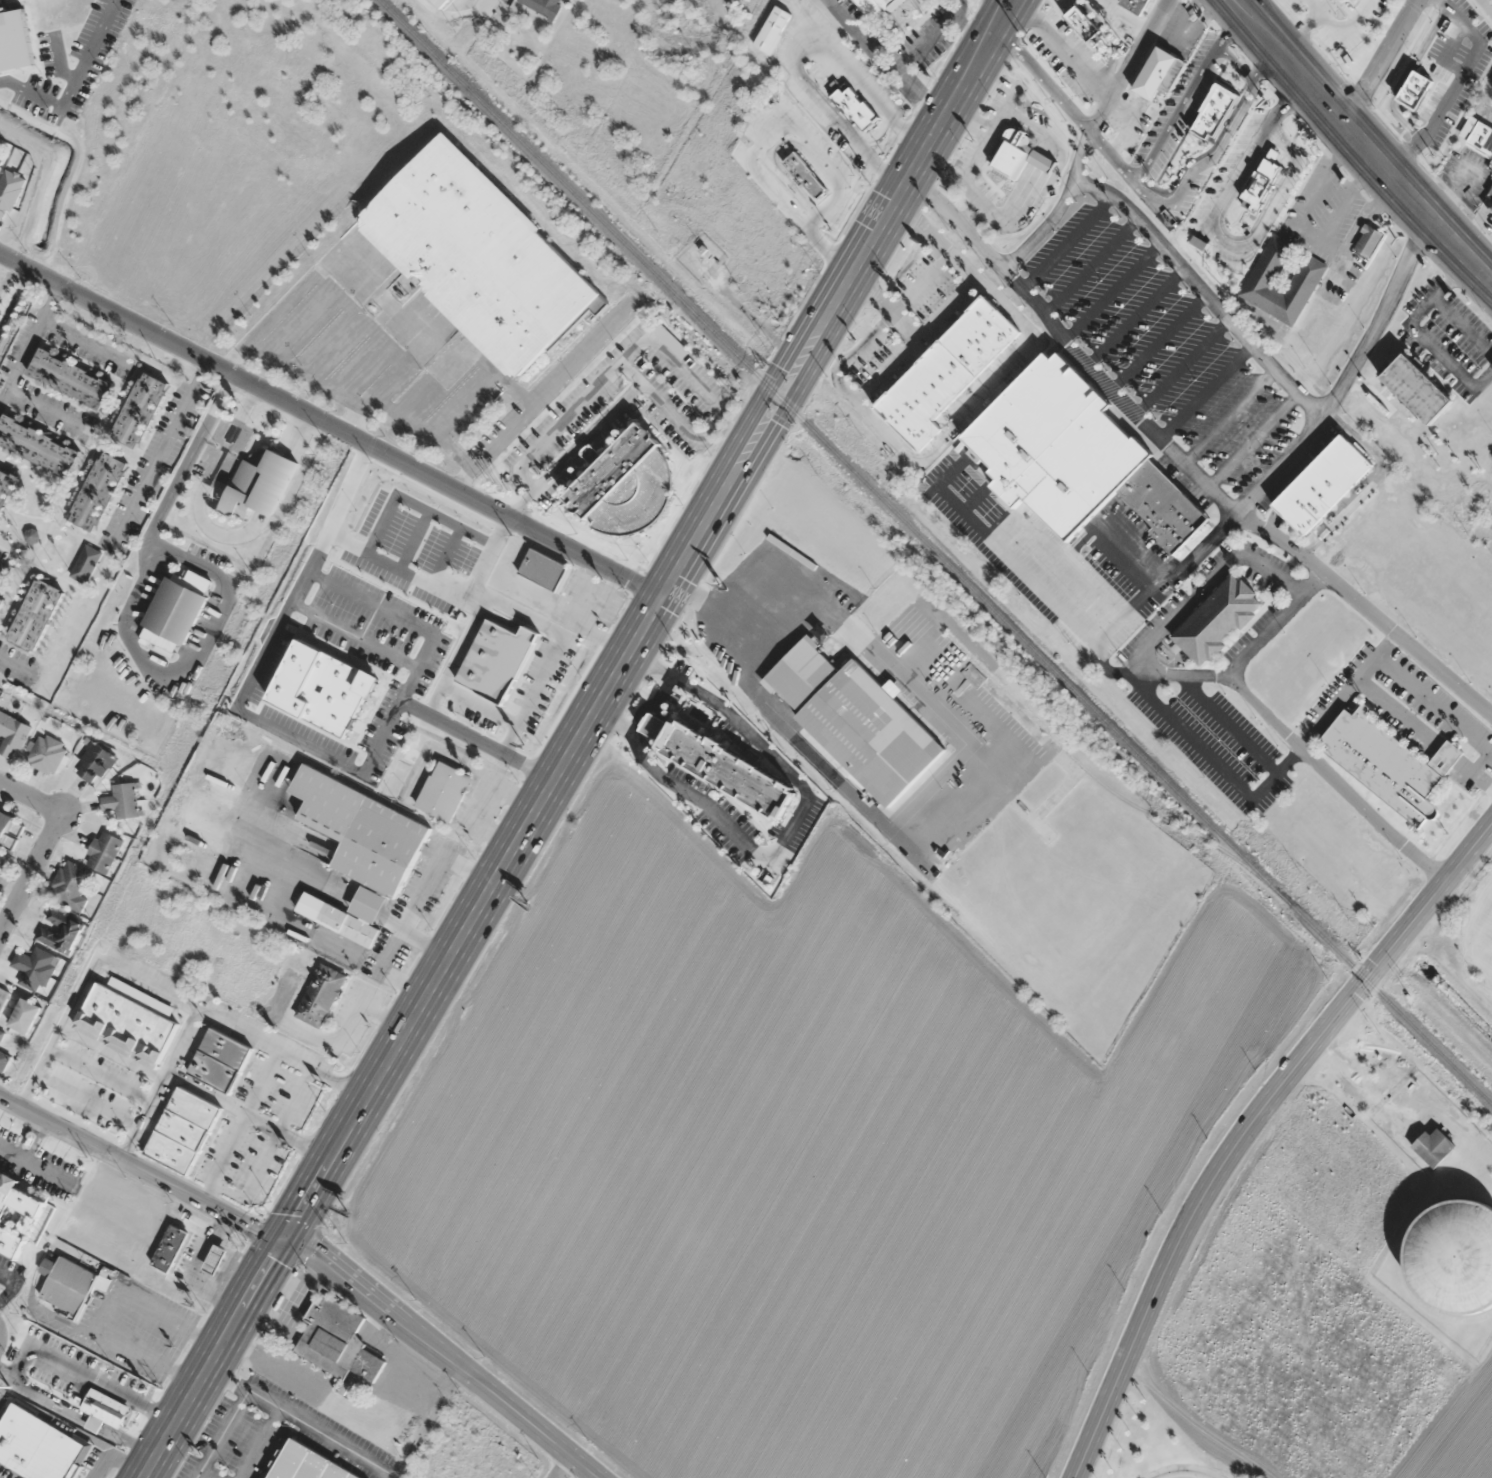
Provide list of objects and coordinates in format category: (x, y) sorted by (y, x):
building: (442, 2)
road: (997, 5)
building: (1136, 5)
building: (542, 6)
building: (874, 6)
road: (483, 8)
building: (1467, 21)
building: (772, 28)
building: (1087, 29)
building: (1348, 38)
road: (1109, 39)
road: (1061, 49)
road: (795, 54)
road: (1382, 62)
road: (1234, 63)
building: (680, 73)
building: (1161, 75)
road: (1187, 95)
building: (855, 108)
road: (831, 109)
building: (1430, 110)
building: (1216, 113)
building: (1479, 135)
road: (1088, 137)
road: (1359, 141)
road: (777, 148)
road: (816, 152)
road: (1246, 152)
road: (1208, 153)
building: (1015, 159)
building: (805, 175)
building: (1251, 183)
road: (1146, 189)
building: (1489, 195)
road: (1265, 213)
road: (799, 218)
building: (1367, 240)
road: (1067, 243)
building: (476, 254)
road: (1090, 267)
building: (1263, 275)
road: (1202, 290)
road: (1112, 292)
road: (1136, 318)
road: (28, 337)
road: (80, 340)
road: (1159, 342)
road: (1068, 345)
road: (1181, 365)
building: (948, 370)
building: (69, 379)
building: (1417, 388)
road: (1204, 389)
building: (148, 392)
road: (43, 407)
road: (1229, 415)
road: (1317, 419)
road: (333, 421)
building: (130, 427)
road: (1252, 438)
building: (37, 446)
road: (165, 450)
building: (1075, 456)
building: (609, 467)
building: (107, 474)
building: (1323, 484)
building: (258, 486)
road: (418, 506)
building: (88, 509)
road: (333, 522)
road: (416, 541)
railway: (934, 551)
road: (492, 553)
road: (448, 556)
building: (86, 563)
building: (544, 570)
road: (406, 572)
building: (0, 601)
parking lot: (461, 602)
building: (35, 614)
road: (648, 617)
road: (406, 618)
building: (1217, 620)
road: (356, 636)
road: (1248, 650)
road: (555, 657)
road: (458, 659)
road: (12, 661)
building: (496, 661)
parking lot: (261, 675)
building: (323, 688)
road: (483, 704)
road: (650, 704)
building: (855, 719)
road: (285, 734)
building: (12, 735)
road: (478, 740)
building: (46, 753)
building: (94, 763)
building: (1389, 763)
building: (722, 767)
building: (443, 791)
building: (121, 801)
road: (790, 827)
building: (361, 831)
building: (9, 832)
road: (43, 844)
building: (103, 852)
building: (70, 885)
building: (355, 917)
building: (59, 931)
building: (33, 968)
building: (320, 996)
building: (24, 1016)
building: (126, 1026)
building: (0, 1029)
building: (2, 1060)
building: (219, 1061)
road: (1245, 1123)
building: (183, 1130)
road: (26, 1135)
road: (36, 1140)
building: (1434, 1146)
road: (34, 1166)
road: (142, 1169)
building: (15, 1214)
traffic signals: (288, 1237)
building: (170, 1247)
building: (1460, 1256)
building: (66, 1283)
road: (10, 1286)
building: (331, 1335)
road: (212, 1356)
road: (440, 1357)
road: (85, 1375)
road: (274, 1406)
building: (105, 1407)
road: (81, 1416)
road: (221, 1434)
building: (38, 1446)
building: (306, 1464)
road: (564, 1469)

